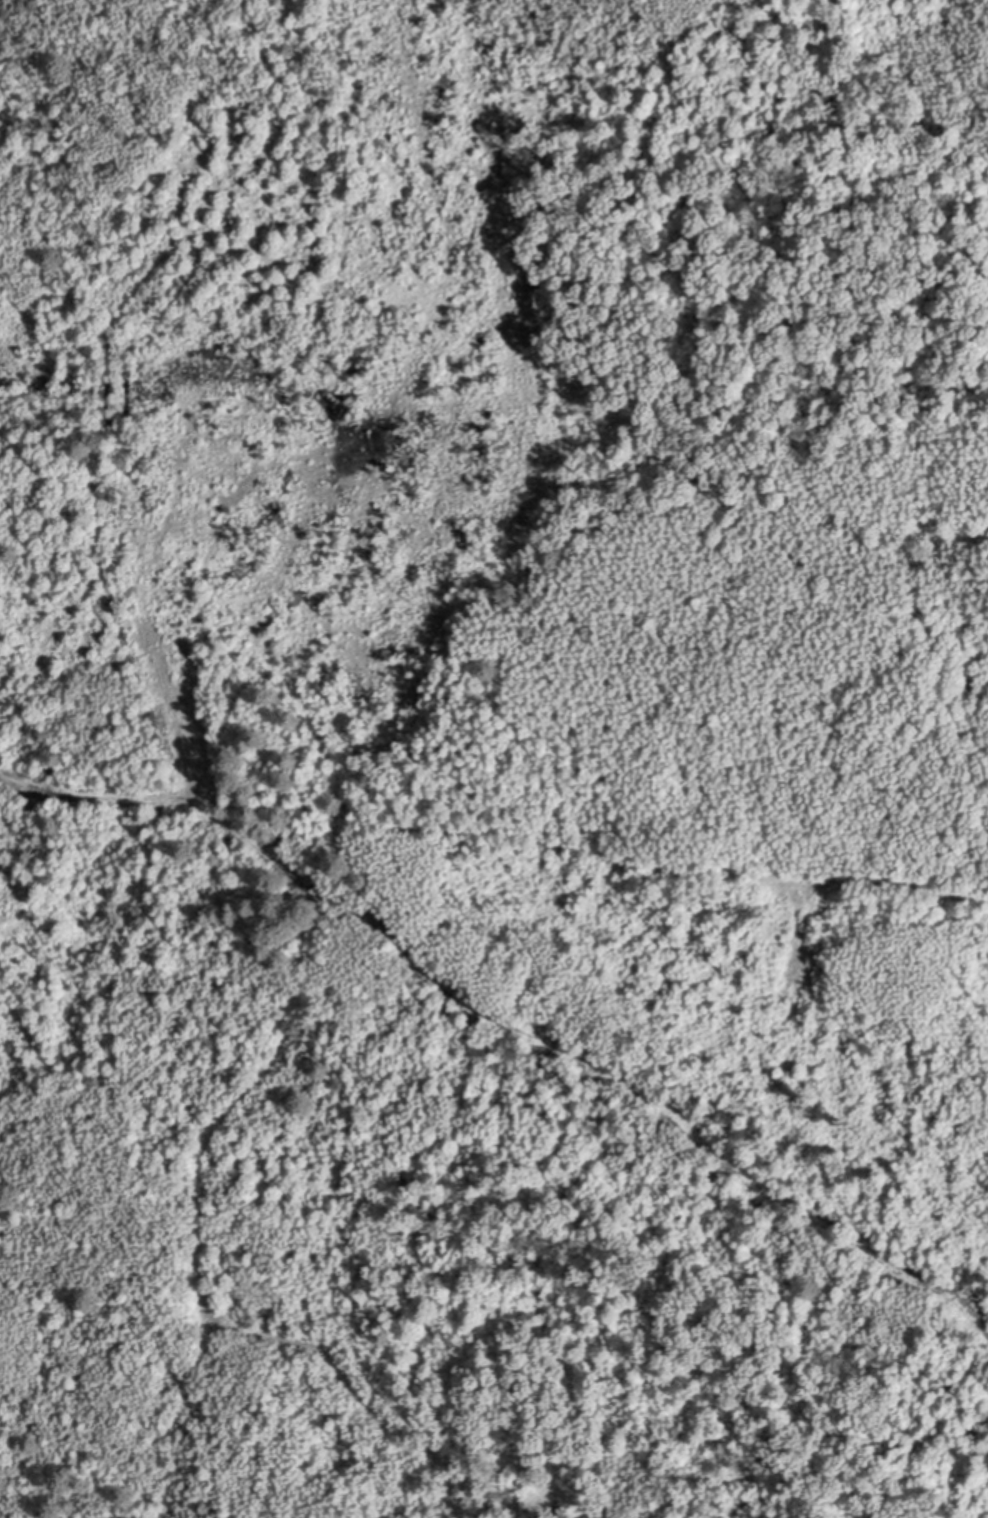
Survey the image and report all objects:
road: (491, 843)

